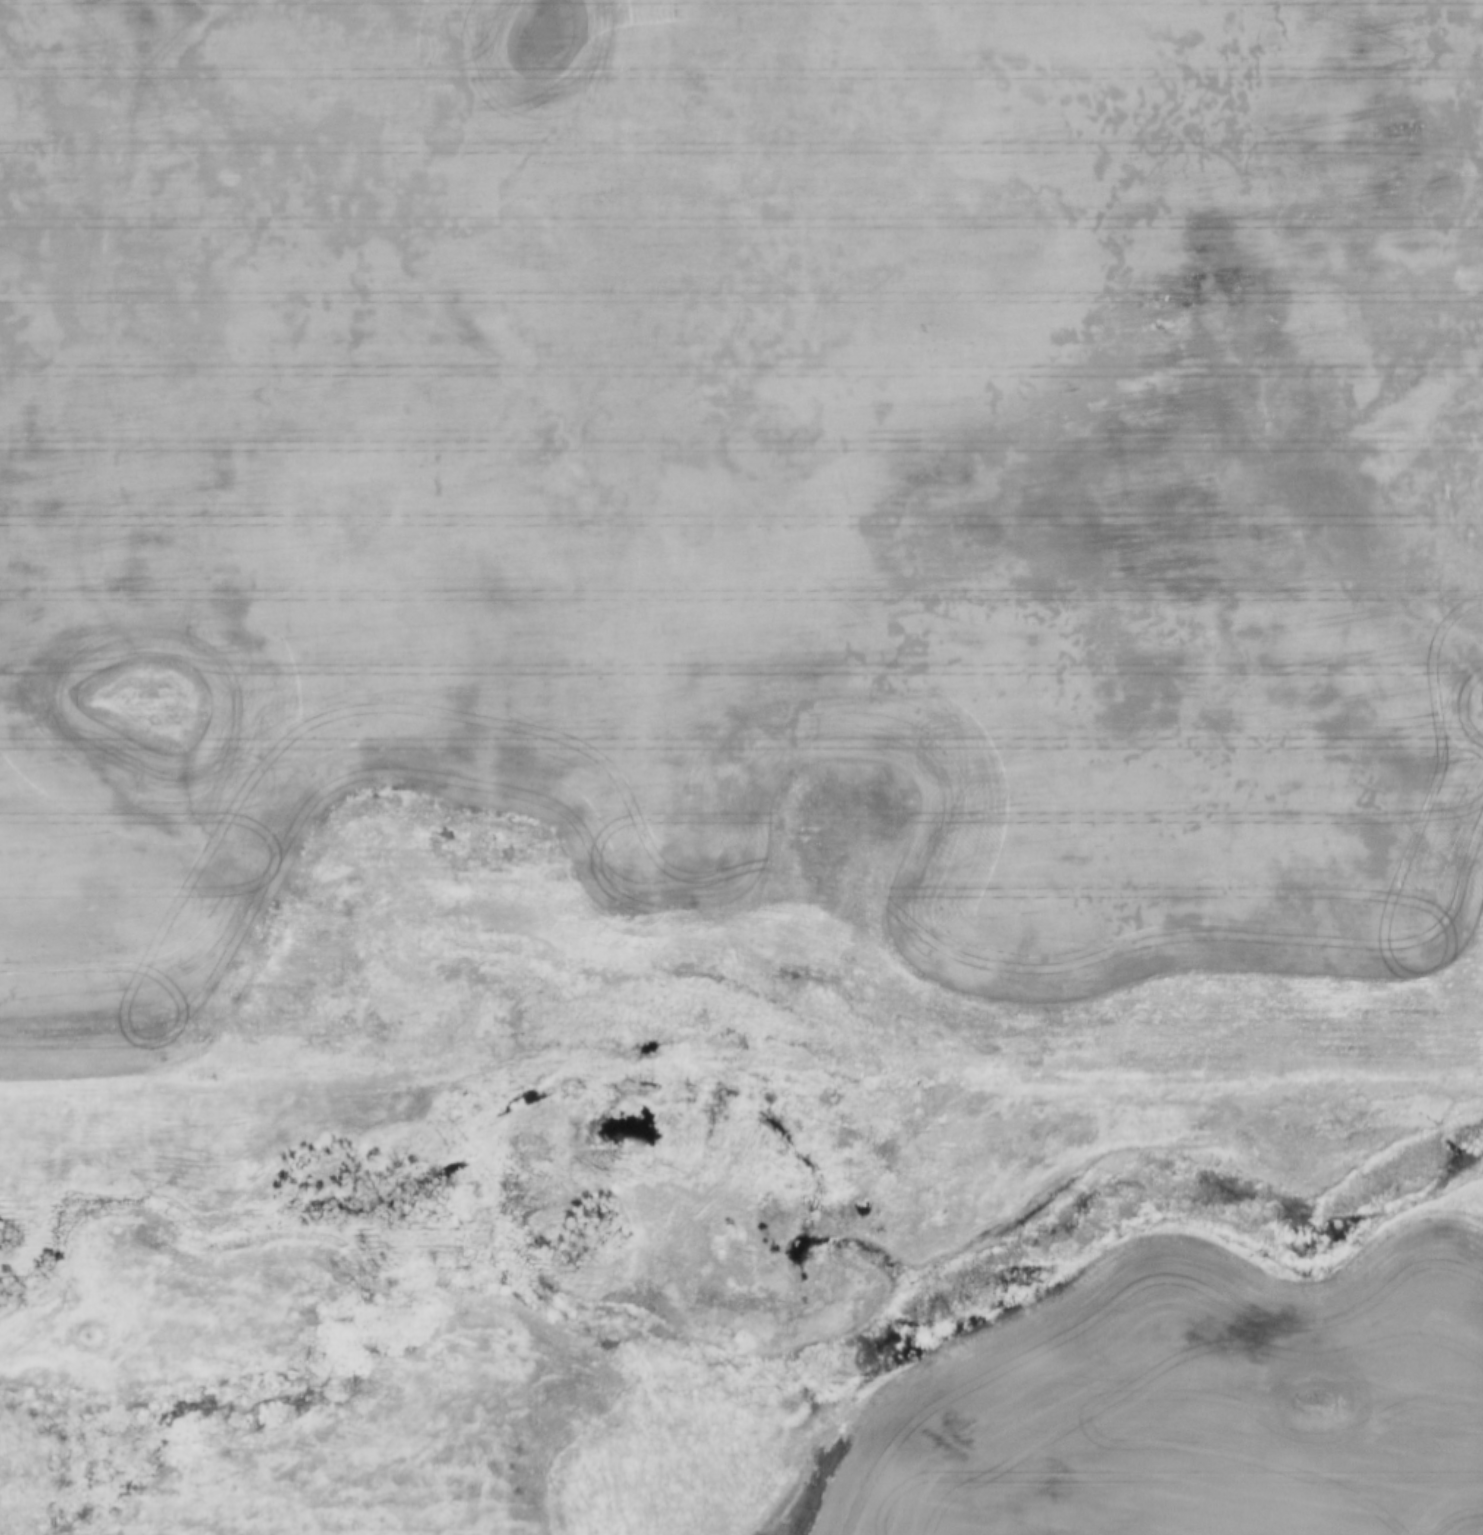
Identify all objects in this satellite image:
building: (1173, 1449)
building: (1096, 1469)
building: (1241, 1523)

